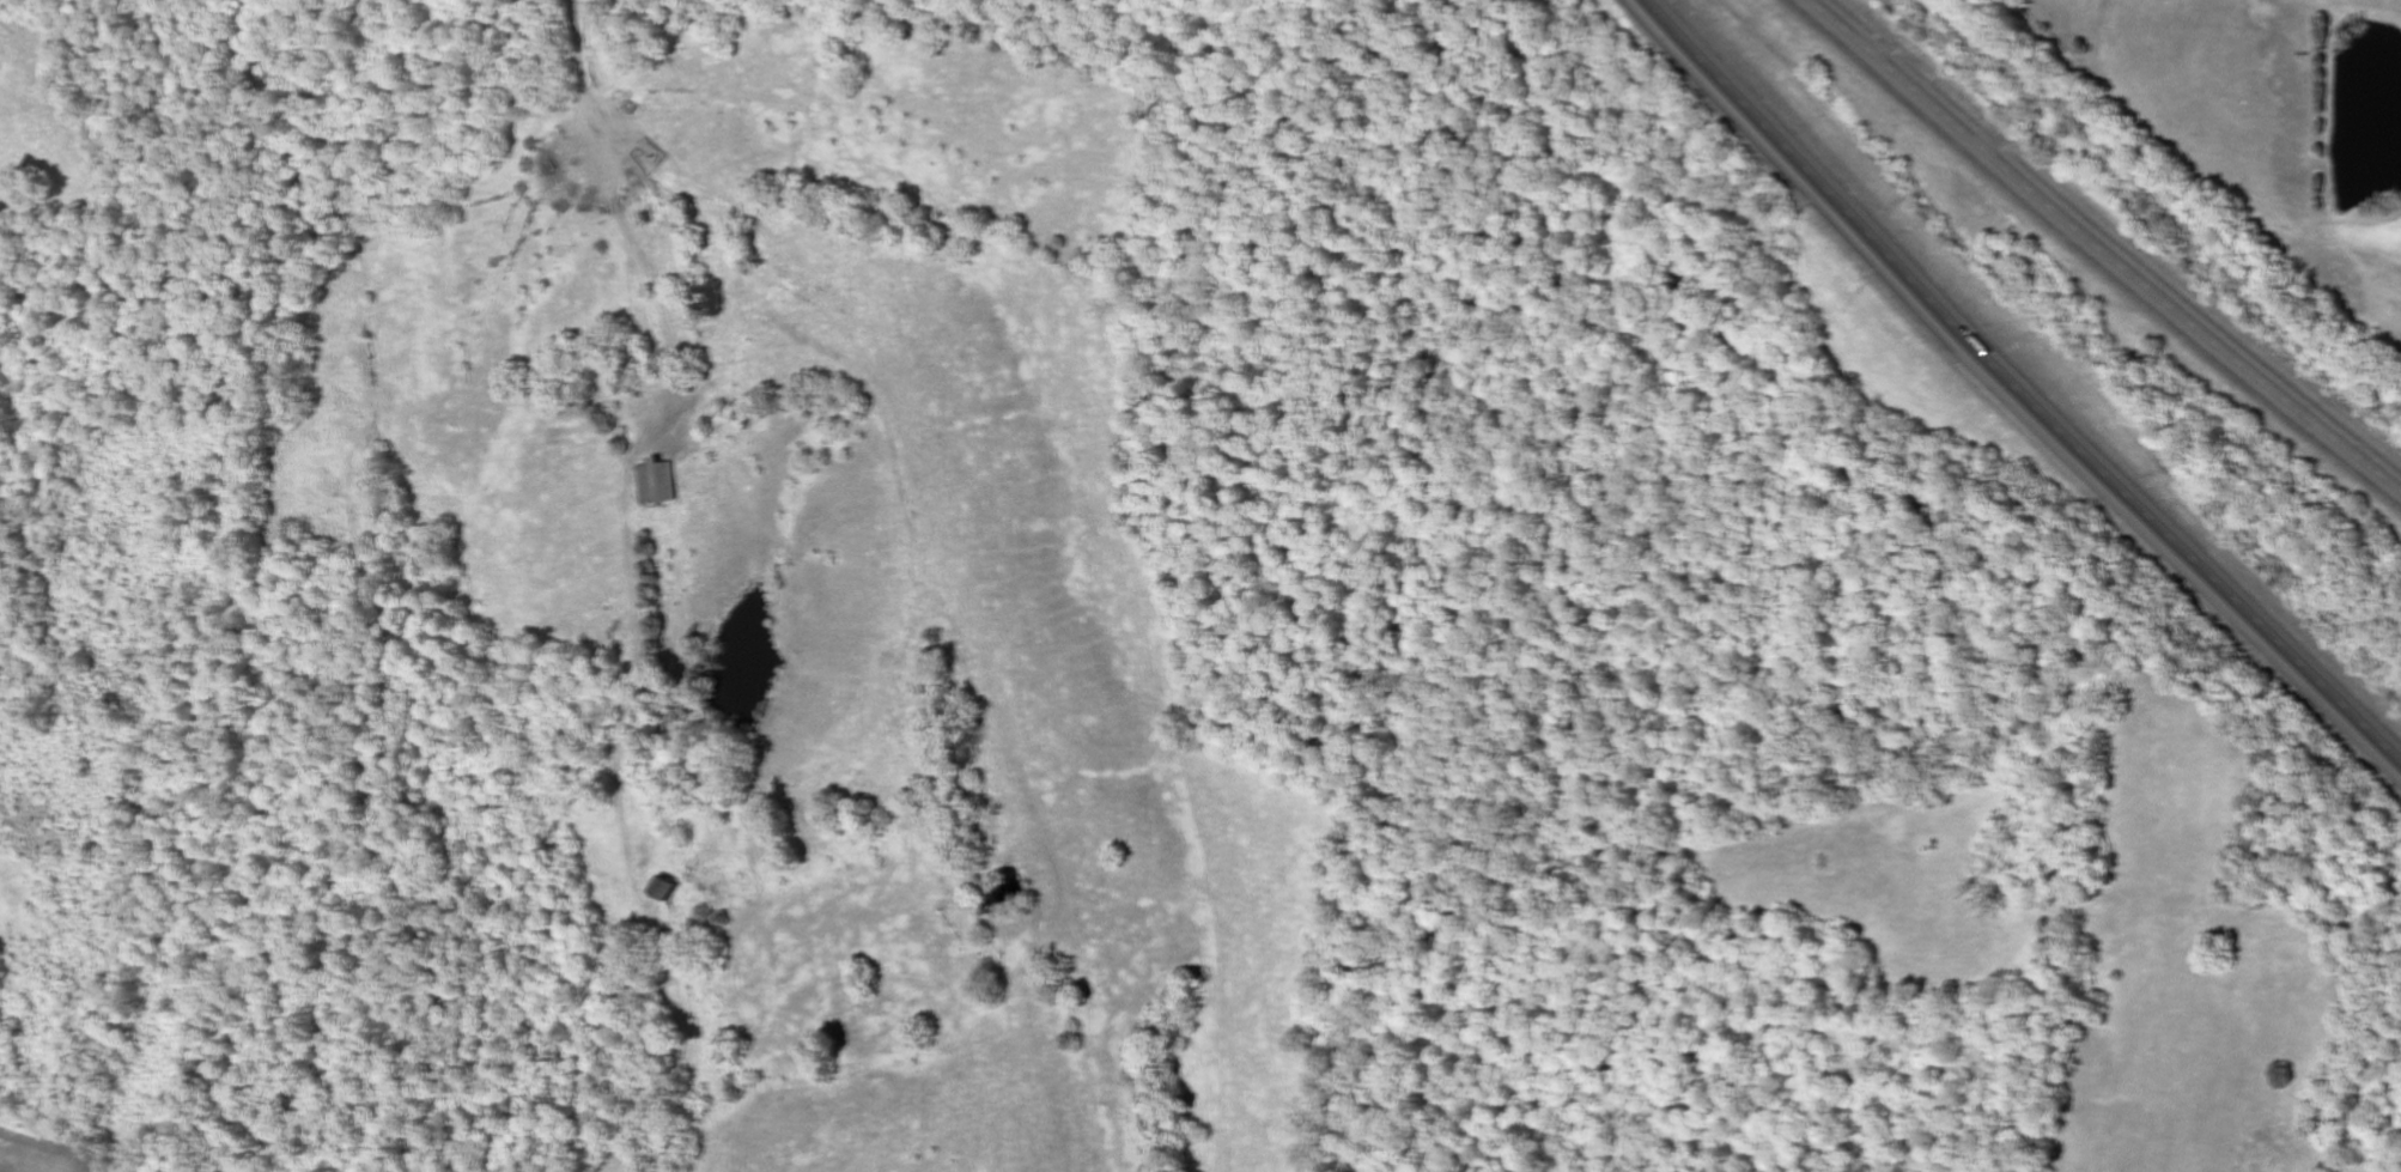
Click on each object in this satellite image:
road: (622, 104)
road: (2097, 253)
building: (711, 298)
road: (2019, 388)
building: (661, 482)
building: (669, 893)

